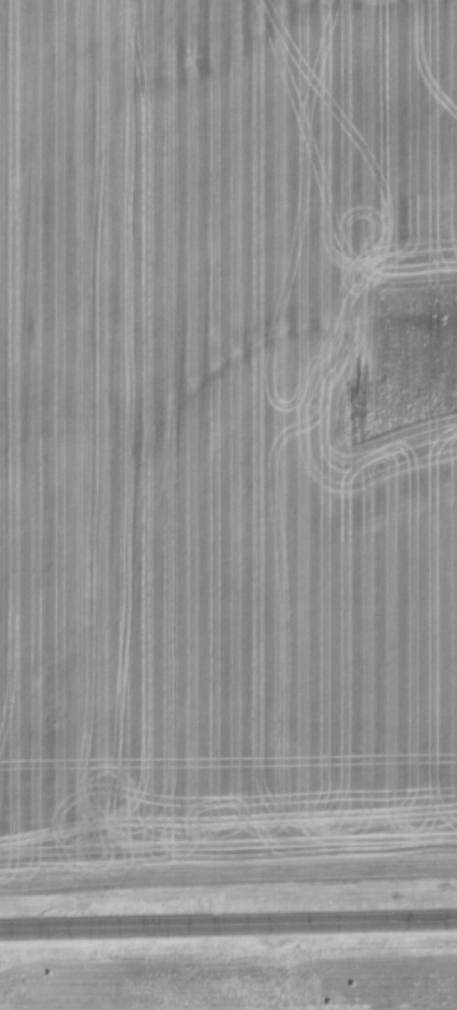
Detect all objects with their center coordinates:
road: (228, 921)

